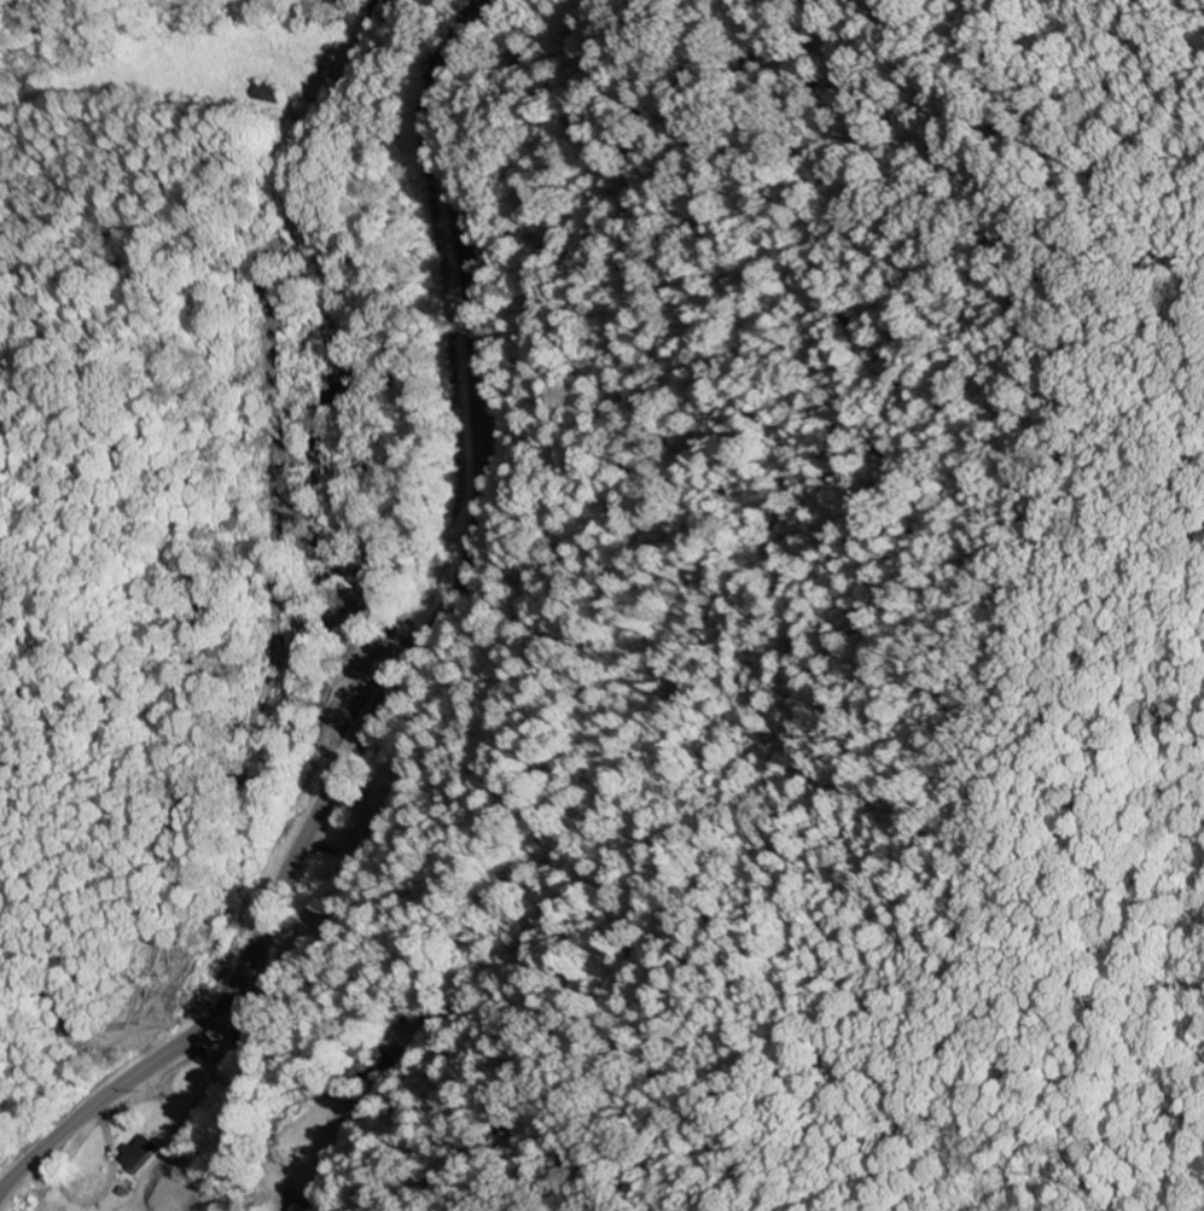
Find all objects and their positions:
road: (373, 12)
road: (417, 659)
building: (139, 1153)

